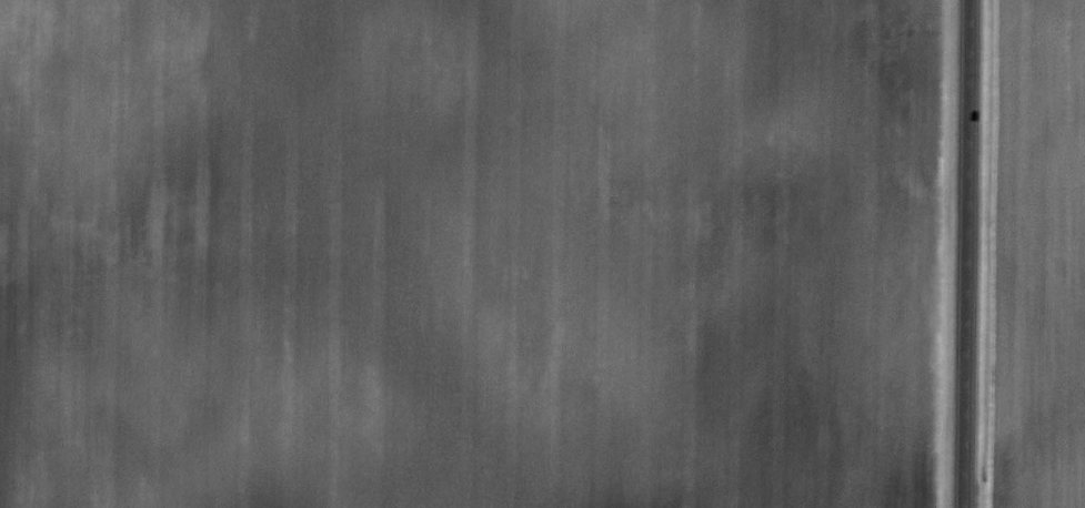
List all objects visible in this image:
road: (977, 254)

